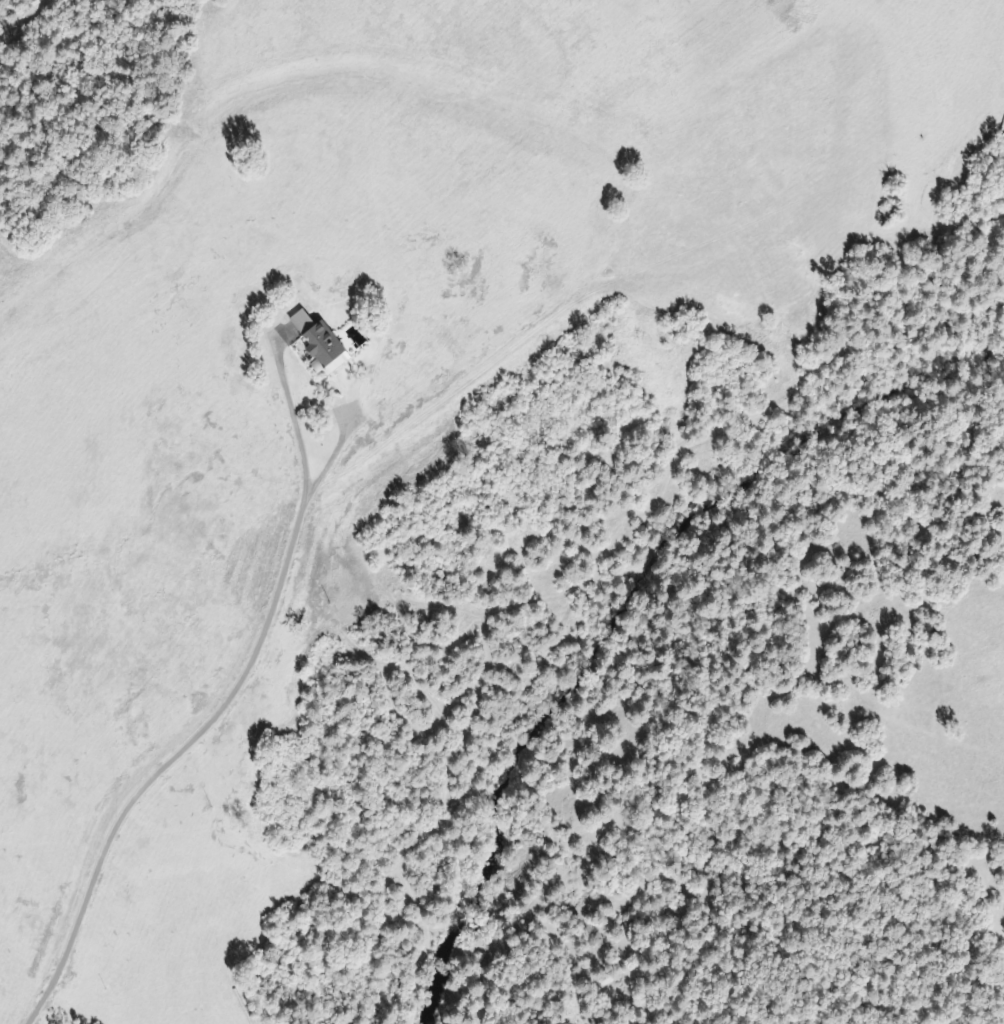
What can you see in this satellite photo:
road: (187, 217)
building: (312, 342)
road: (342, 609)
road: (55, 956)

